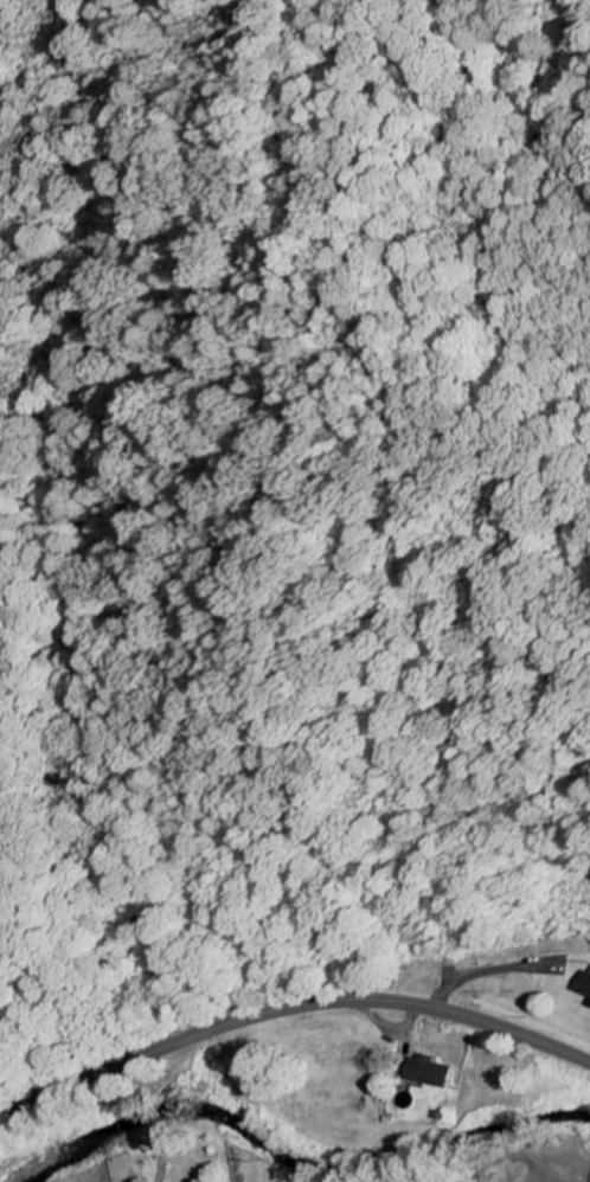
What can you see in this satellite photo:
building: (579, 984)
road: (289, 1001)
building: (428, 1071)

